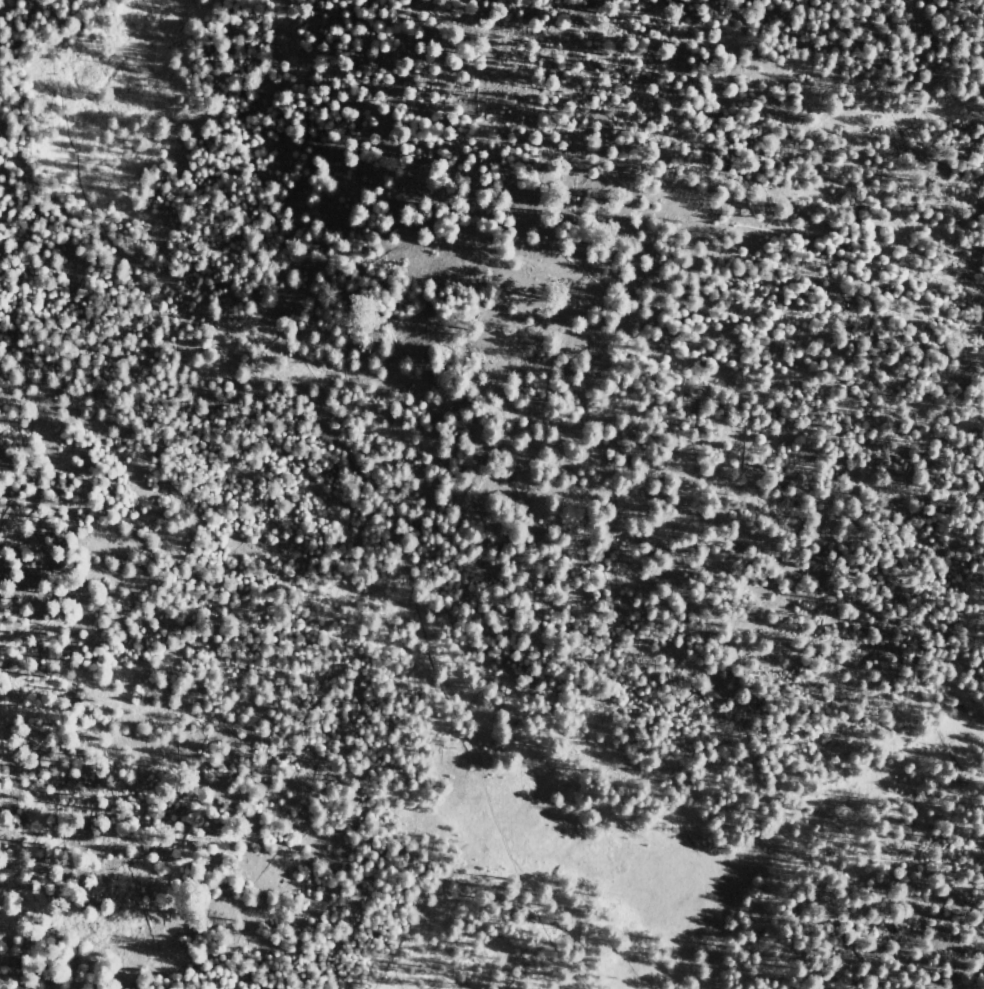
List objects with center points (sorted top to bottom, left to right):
road: (351, 462)

